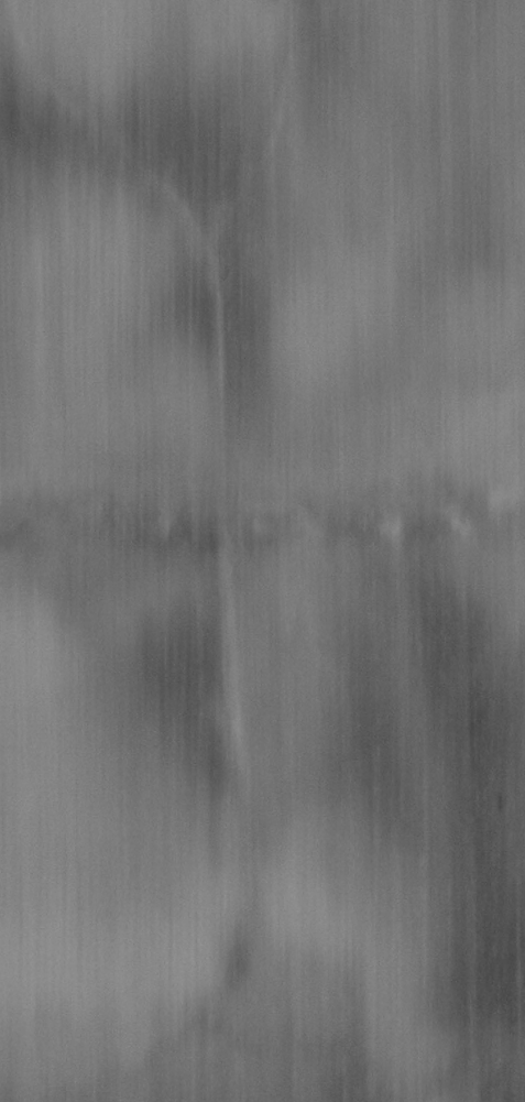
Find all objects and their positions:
crop: (262, 550)

